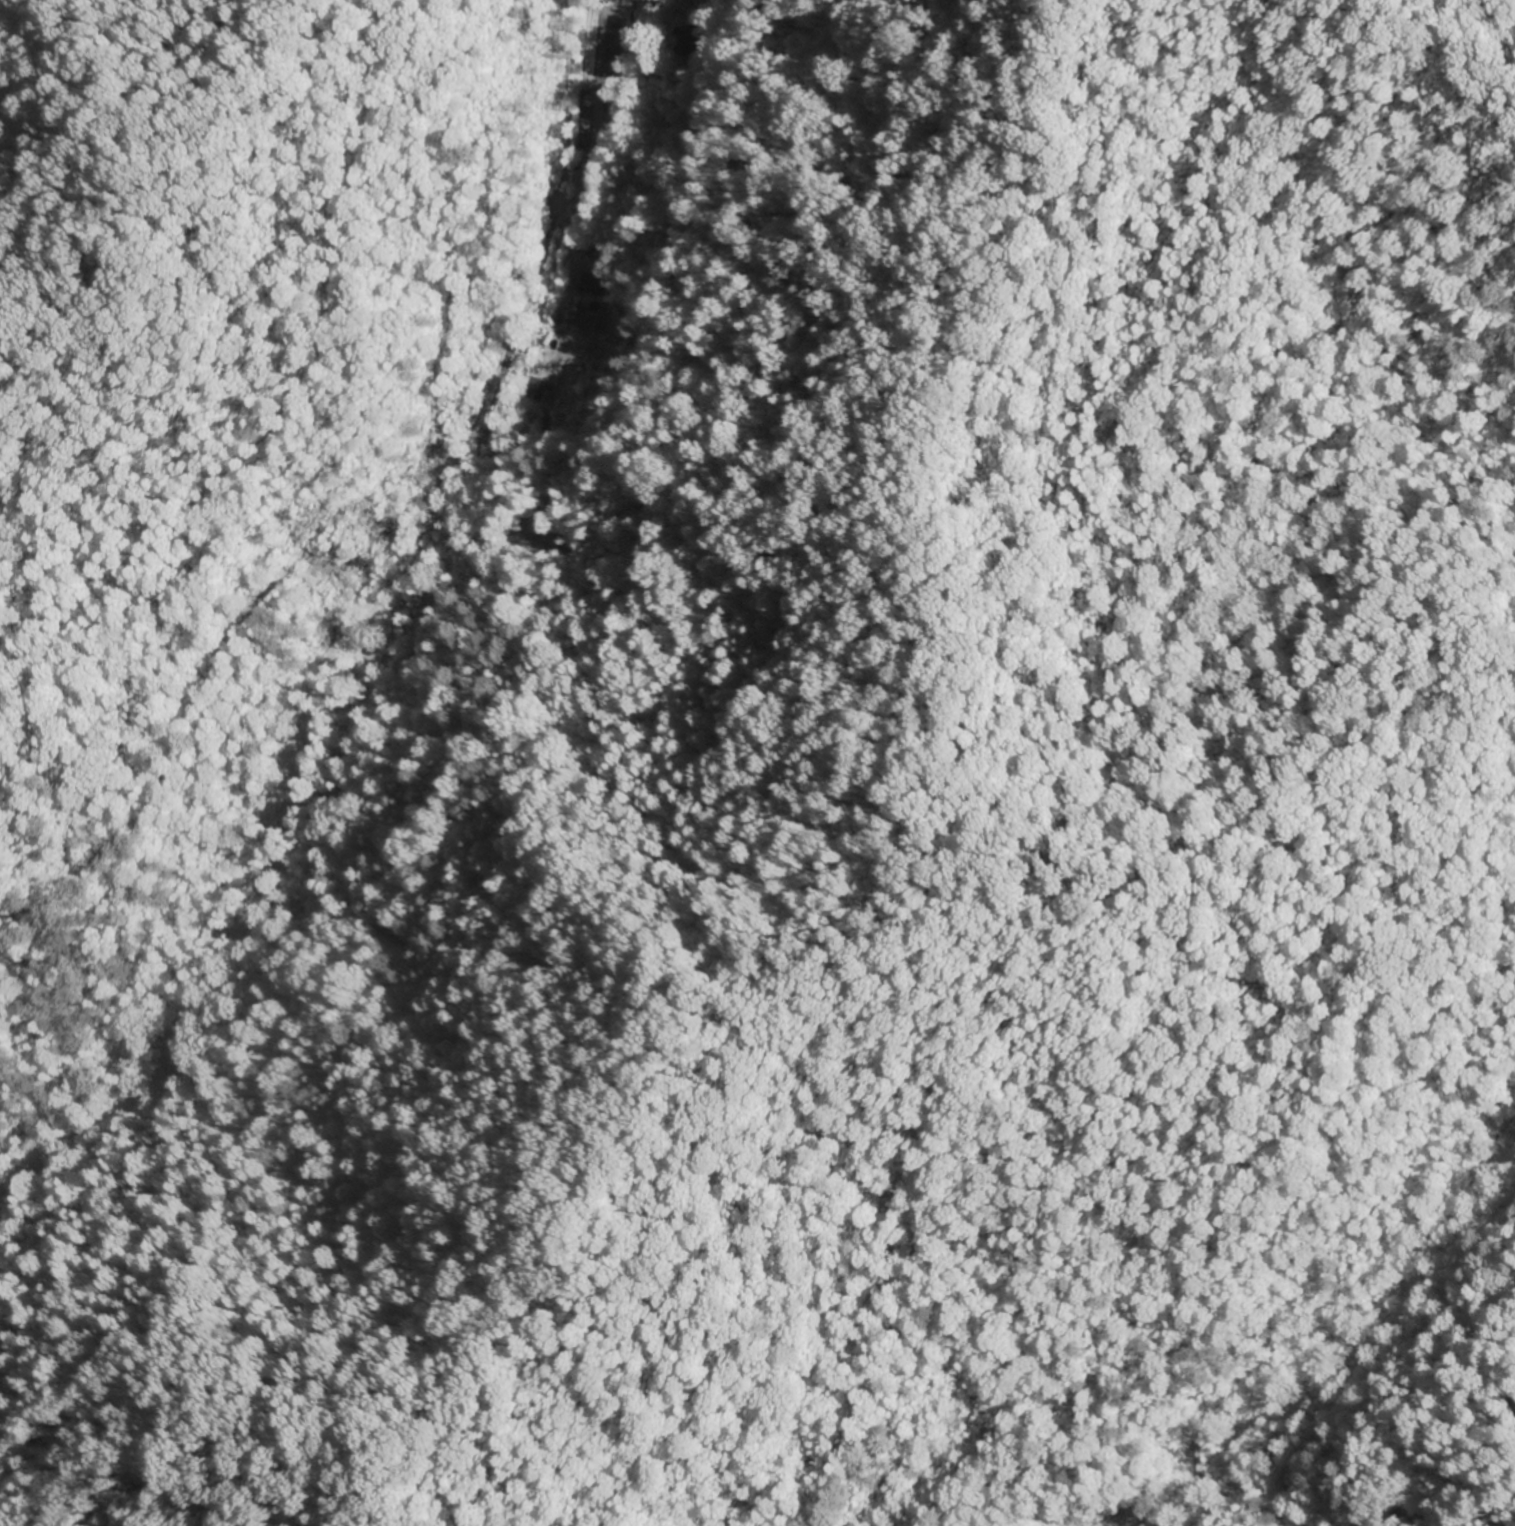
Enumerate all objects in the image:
building: (695, 38)
building: (593, 279)
building: (581, 318)
building: (539, 390)

